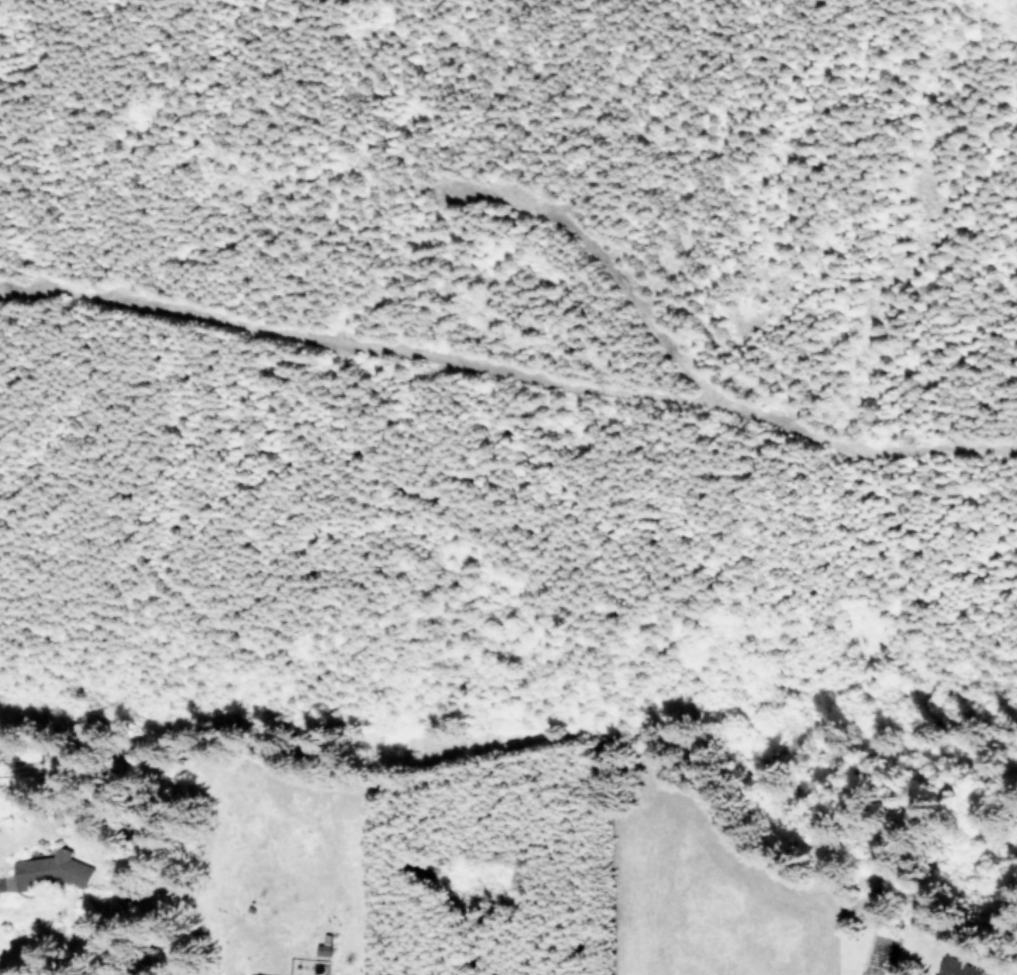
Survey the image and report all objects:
building: (54, 869)
building: (971, 970)

